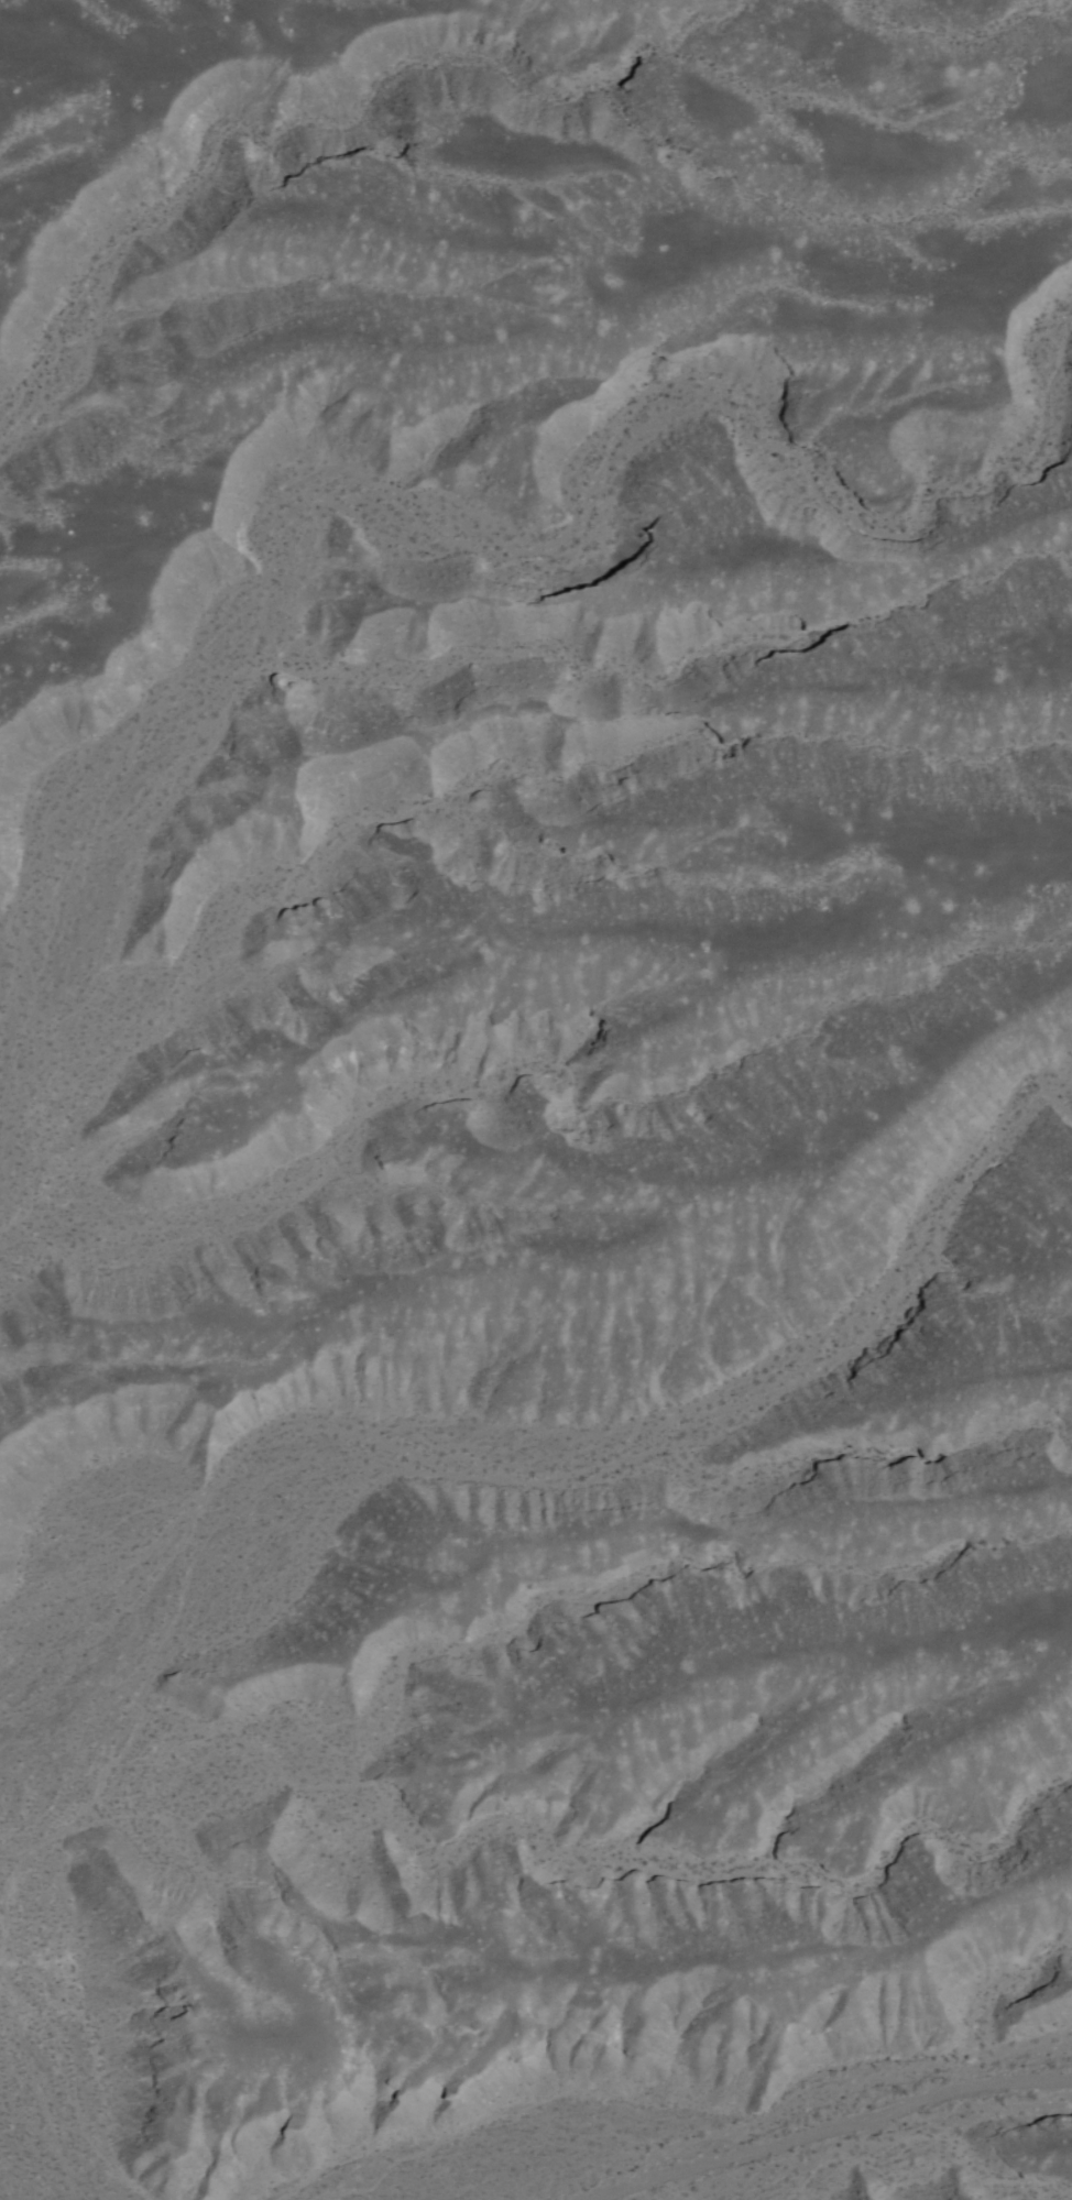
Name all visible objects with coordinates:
road: (59, 2055)
road: (832, 2127)

